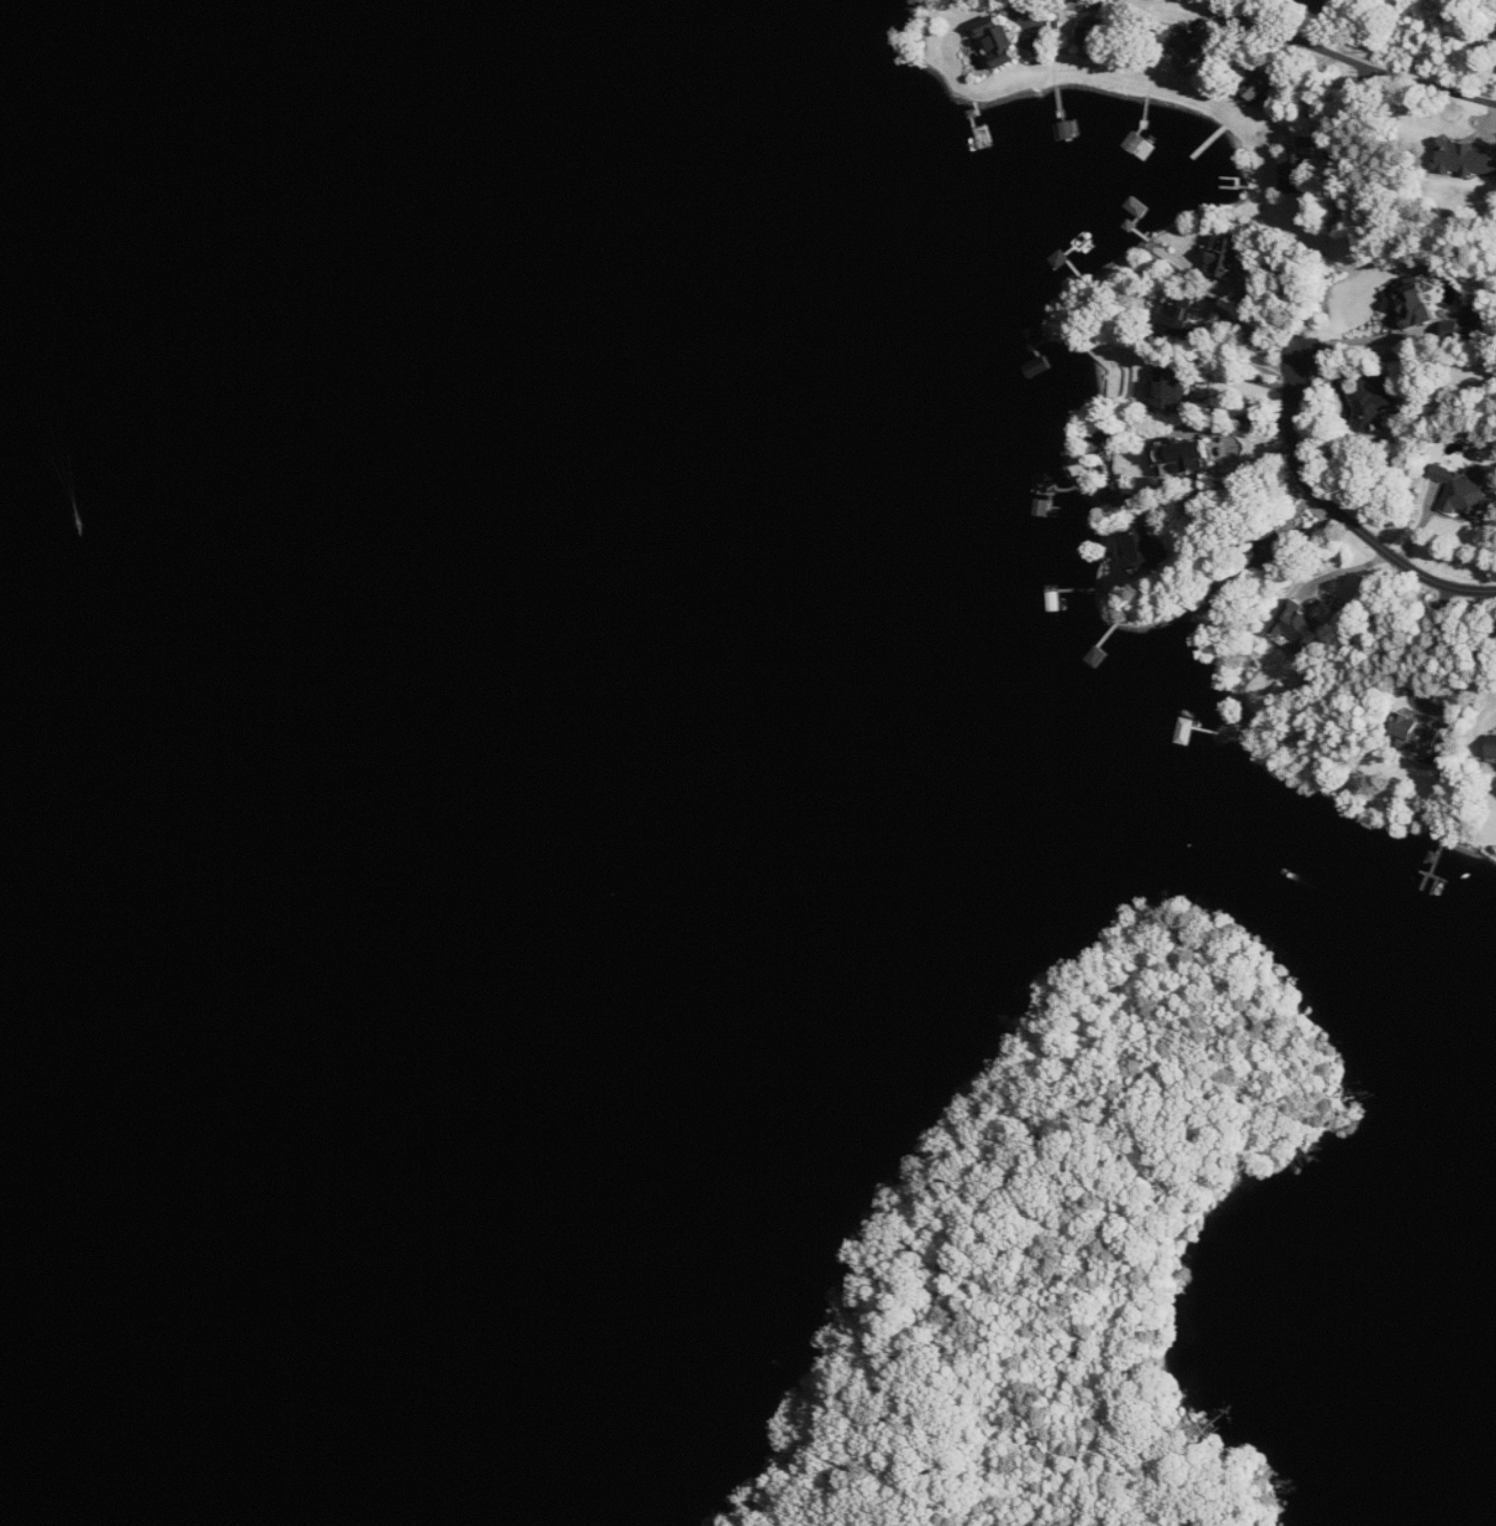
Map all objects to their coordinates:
building: (1322, 5)
building: (1096, 32)
building: (1001, 39)
building: (1187, 42)
building: (1037, 44)
road: (1347, 52)
building: (1259, 87)
road: (1342, 110)
building: (1466, 159)
building: (1295, 173)
building: (1226, 256)
building: (1418, 306)
building: (1180, 316)
building: (1453, 330)
road: (1358, 338)
road: (1245, 375)
building: (1170, 386)
building: (1374, 407)
road: (1223, 444)
building: (1188, 457)
building: (1465, 489)
road: (1196, 490)
road: (1332, 522)
building: (1147, 546)
building: (1276, 552)
building: (1301, 628)
road: (1432, 708)
building: (1418, 734)
building: (1493, 746)
river: (333, 751)

